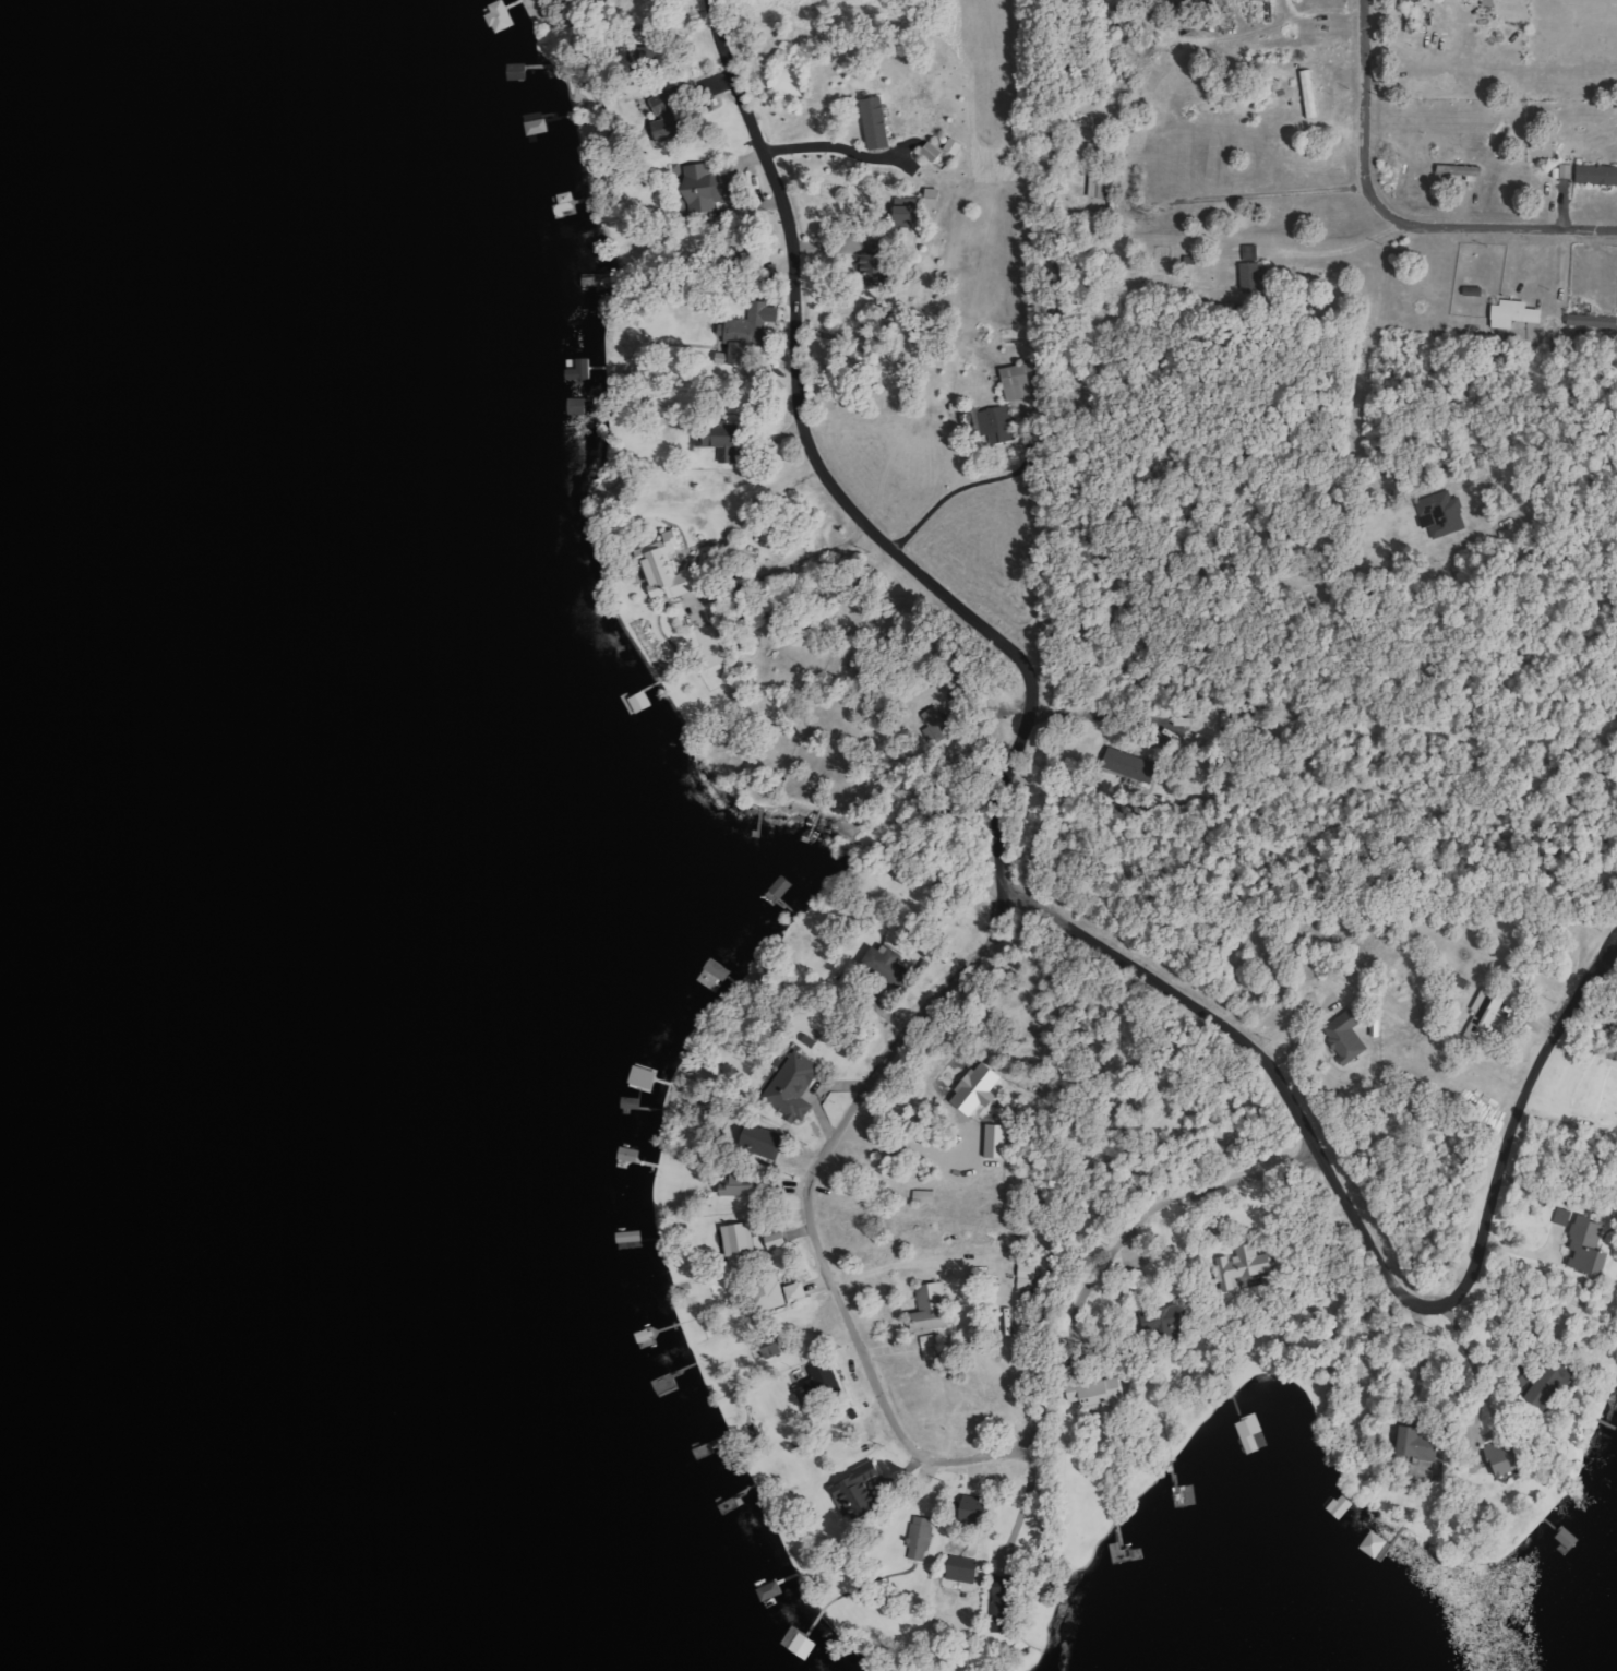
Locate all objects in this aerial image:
building: (1417, 16)
building: (1313, 94)
building: (670, 117)
building: (878, 122)
building: (538, 123)
building: (955, 146)
building: (934, 152)
building: (1462, 170)
building: (1568, 170)
building: (1597, 175)
building: (710, 187)
building: (935, 198)
building: (566, 205)
building: (908, 215)
road: (1390, 218)
building: (876, 263)
building: (1254, 272)
building: (1475, 291)
building: (1516, 314)
building: (1593, 321)
building: (748, 332)
building: (1021, 382)
building: (998, 425)
building: (722, 446)
building: (1444, 514)
building: (669, 569)
building: (938, 725)
building: (1131, 765)
road: (1011, 780)
building: (888, 962)
building: (1488, 1014)
building: (1349, 1036)
road: (1260, 1063)
building: (793, 1087)
building: (981, 1088)
road: (1514, 1132)
building: (764, 1139)
building: (999, 1141)
building: (743, 1185)
building: (926, 1195)
building: (1564, 1216)
building: (740, 1239)
building: (1589, 1245)
road: (1117, 1251)
building: (1245, 1268)
building: (1028, 1277)
building: (799, 1291)
building: (934, 1306)
building: (1169, 1323)
building: (779, 1347)
building: (823, 1377)
building: (1103, 1394)
building: (1254, 1433)
building: (1421, 1443)
building: (1510, 1456)
building: (865, 1489)
building: (978, 1508)
building: (922, 1538)
building: (1376, 1544)
building: (966, 1573)
building: (1006, 1609)

